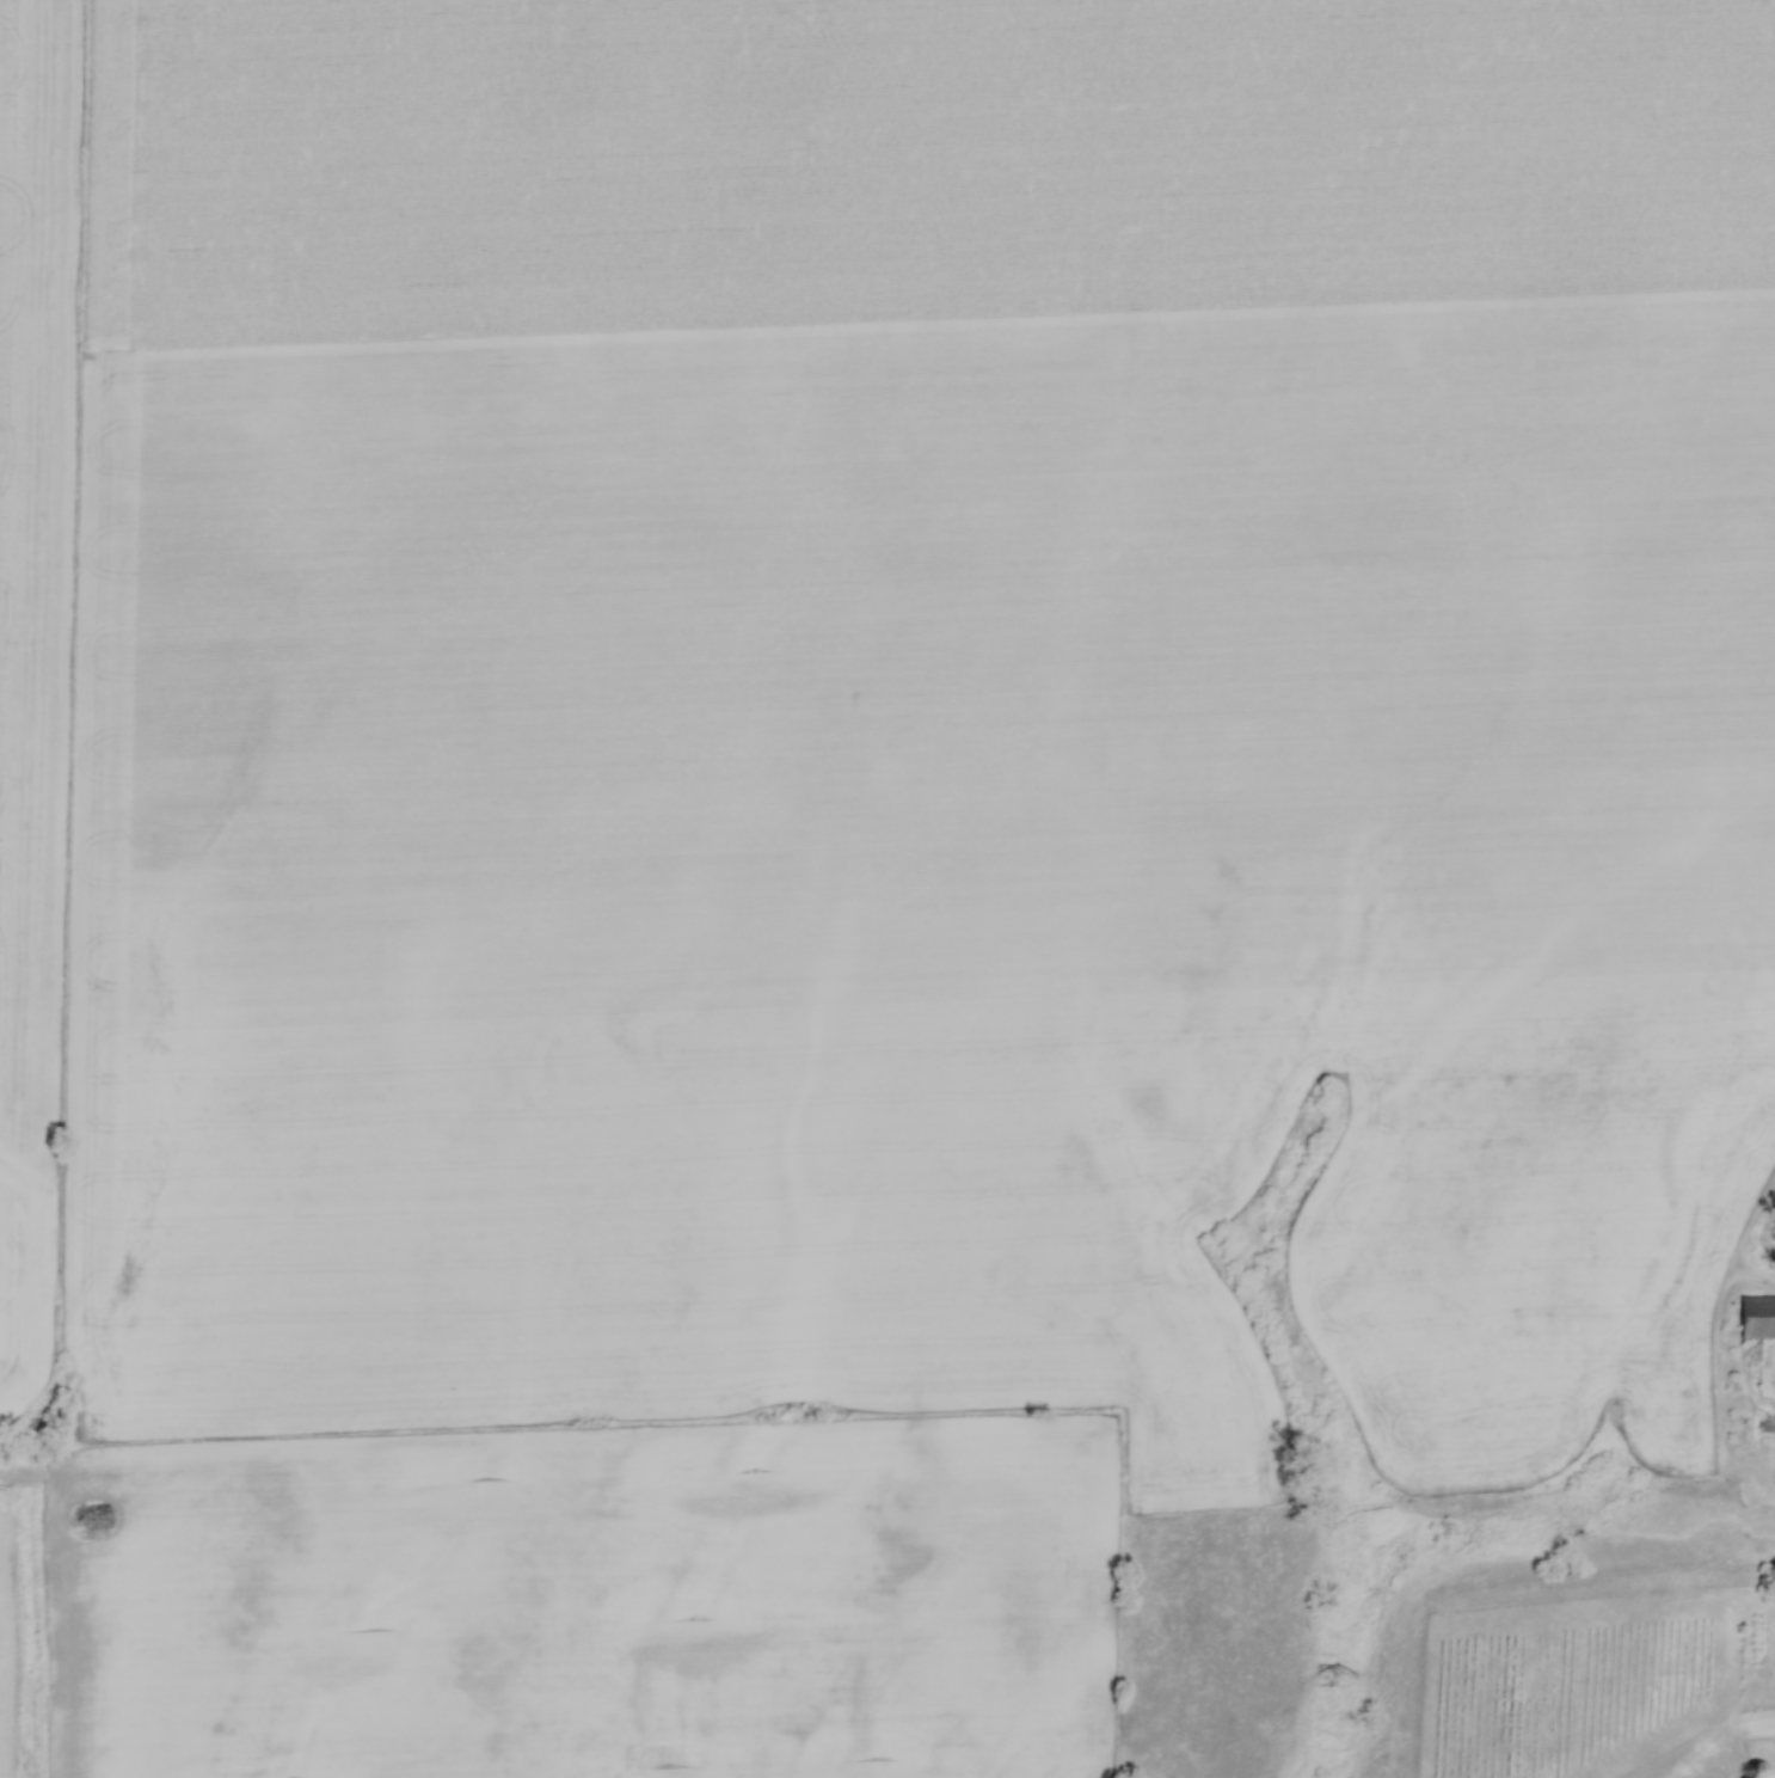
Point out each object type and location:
building: (1757, 1316)

